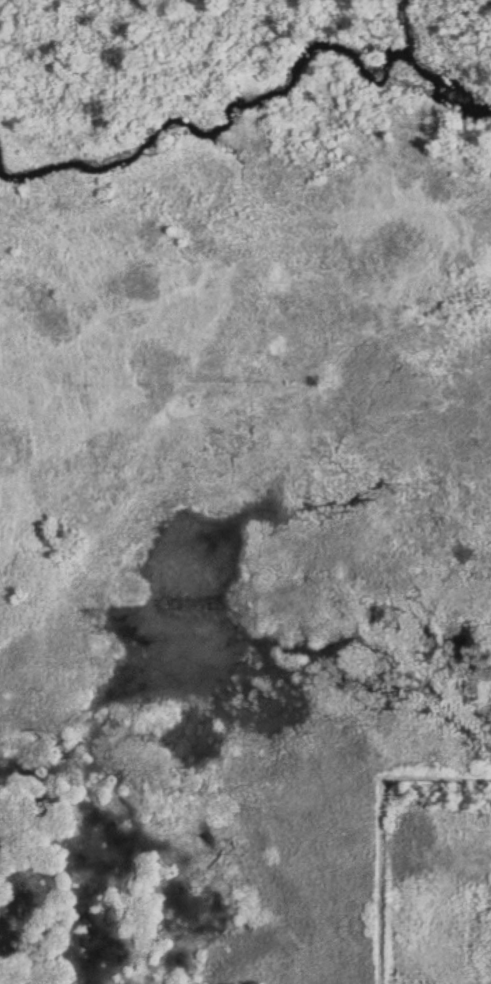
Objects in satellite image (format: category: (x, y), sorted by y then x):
road: (439, 783)

